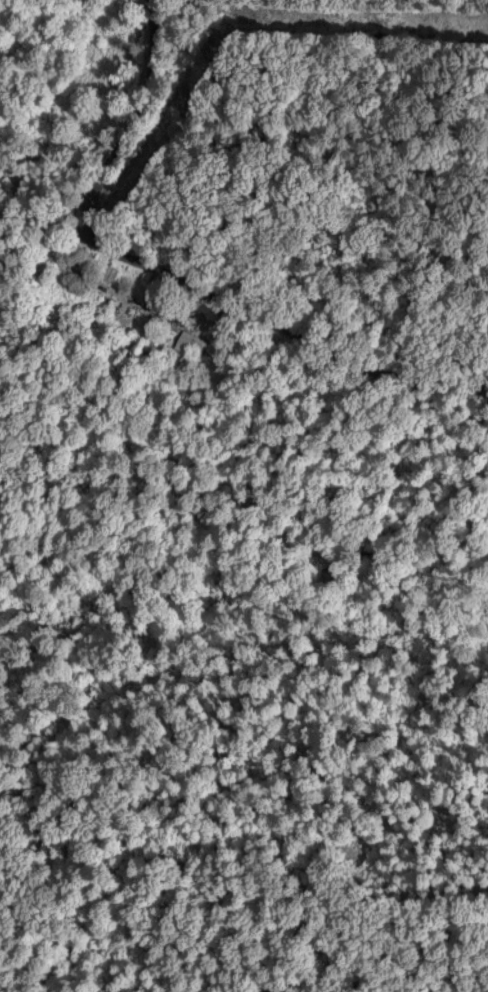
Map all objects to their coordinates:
road: (173, 273)
building: (190, 341)
road: (459, 406)

